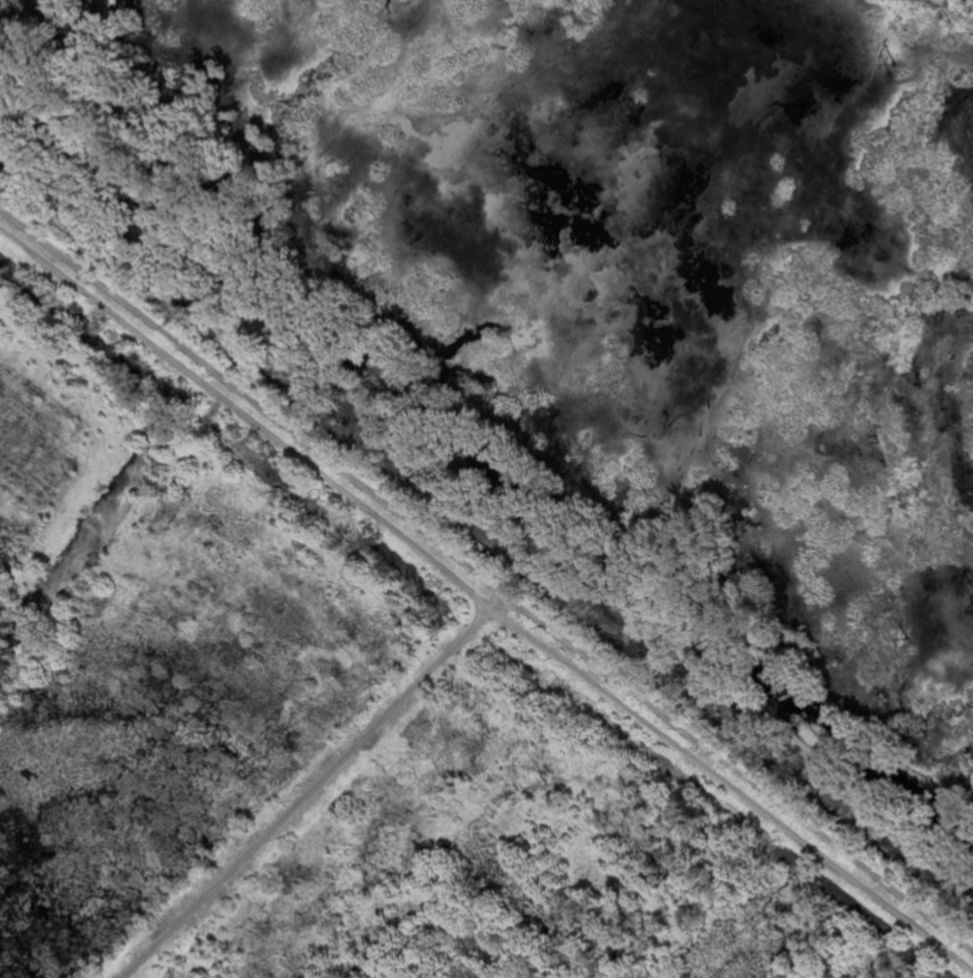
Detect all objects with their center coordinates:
power tower: (893, 61)
river: (490, 474)
road: (485, 586)
road: (313, 788)

